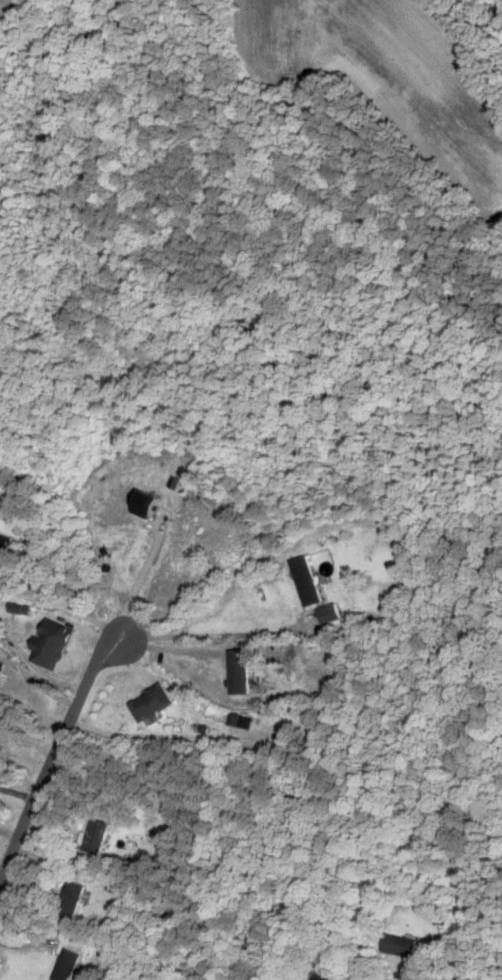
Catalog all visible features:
building: (149, 502)
building: (4, 546)
building: (306, 579)
road: (138, 580)
road: (63, 607)
building: (329, 612)
road: (218, 637)
building: (52, 642)
building: (152, 703)
building: (241, 719)
road: (28, 743)
road: (55, 756)
road: (18, 792)
building: (96, 836)
building: (70, 899)
building: (399, 945)
building: (66, 965)
building: (324, 976)

